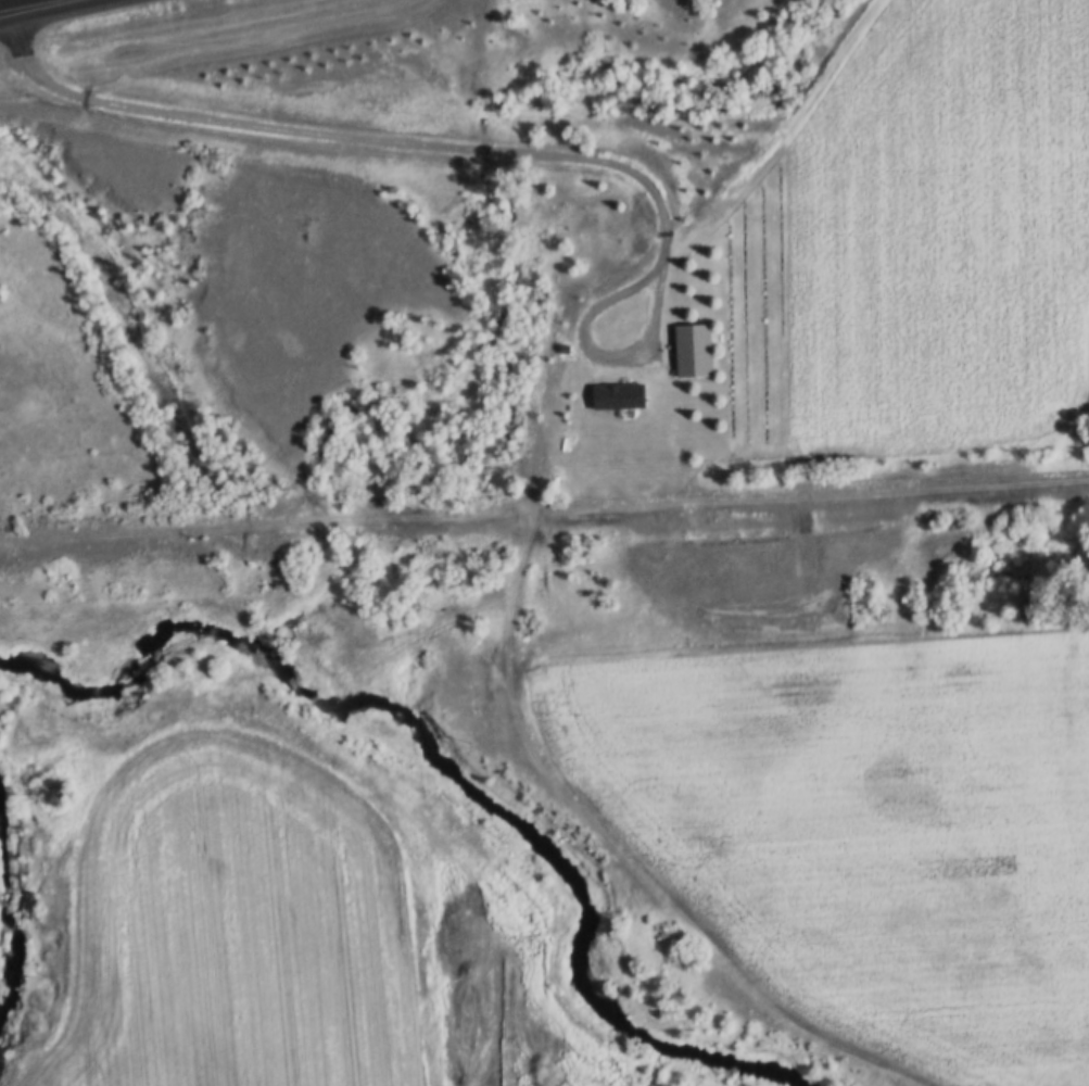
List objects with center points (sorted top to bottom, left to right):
road: (50, 10)
road: (773, 139)
road: (485, 149)
building: (688, 353)
building: (616, 399)
road: (113, 780)

